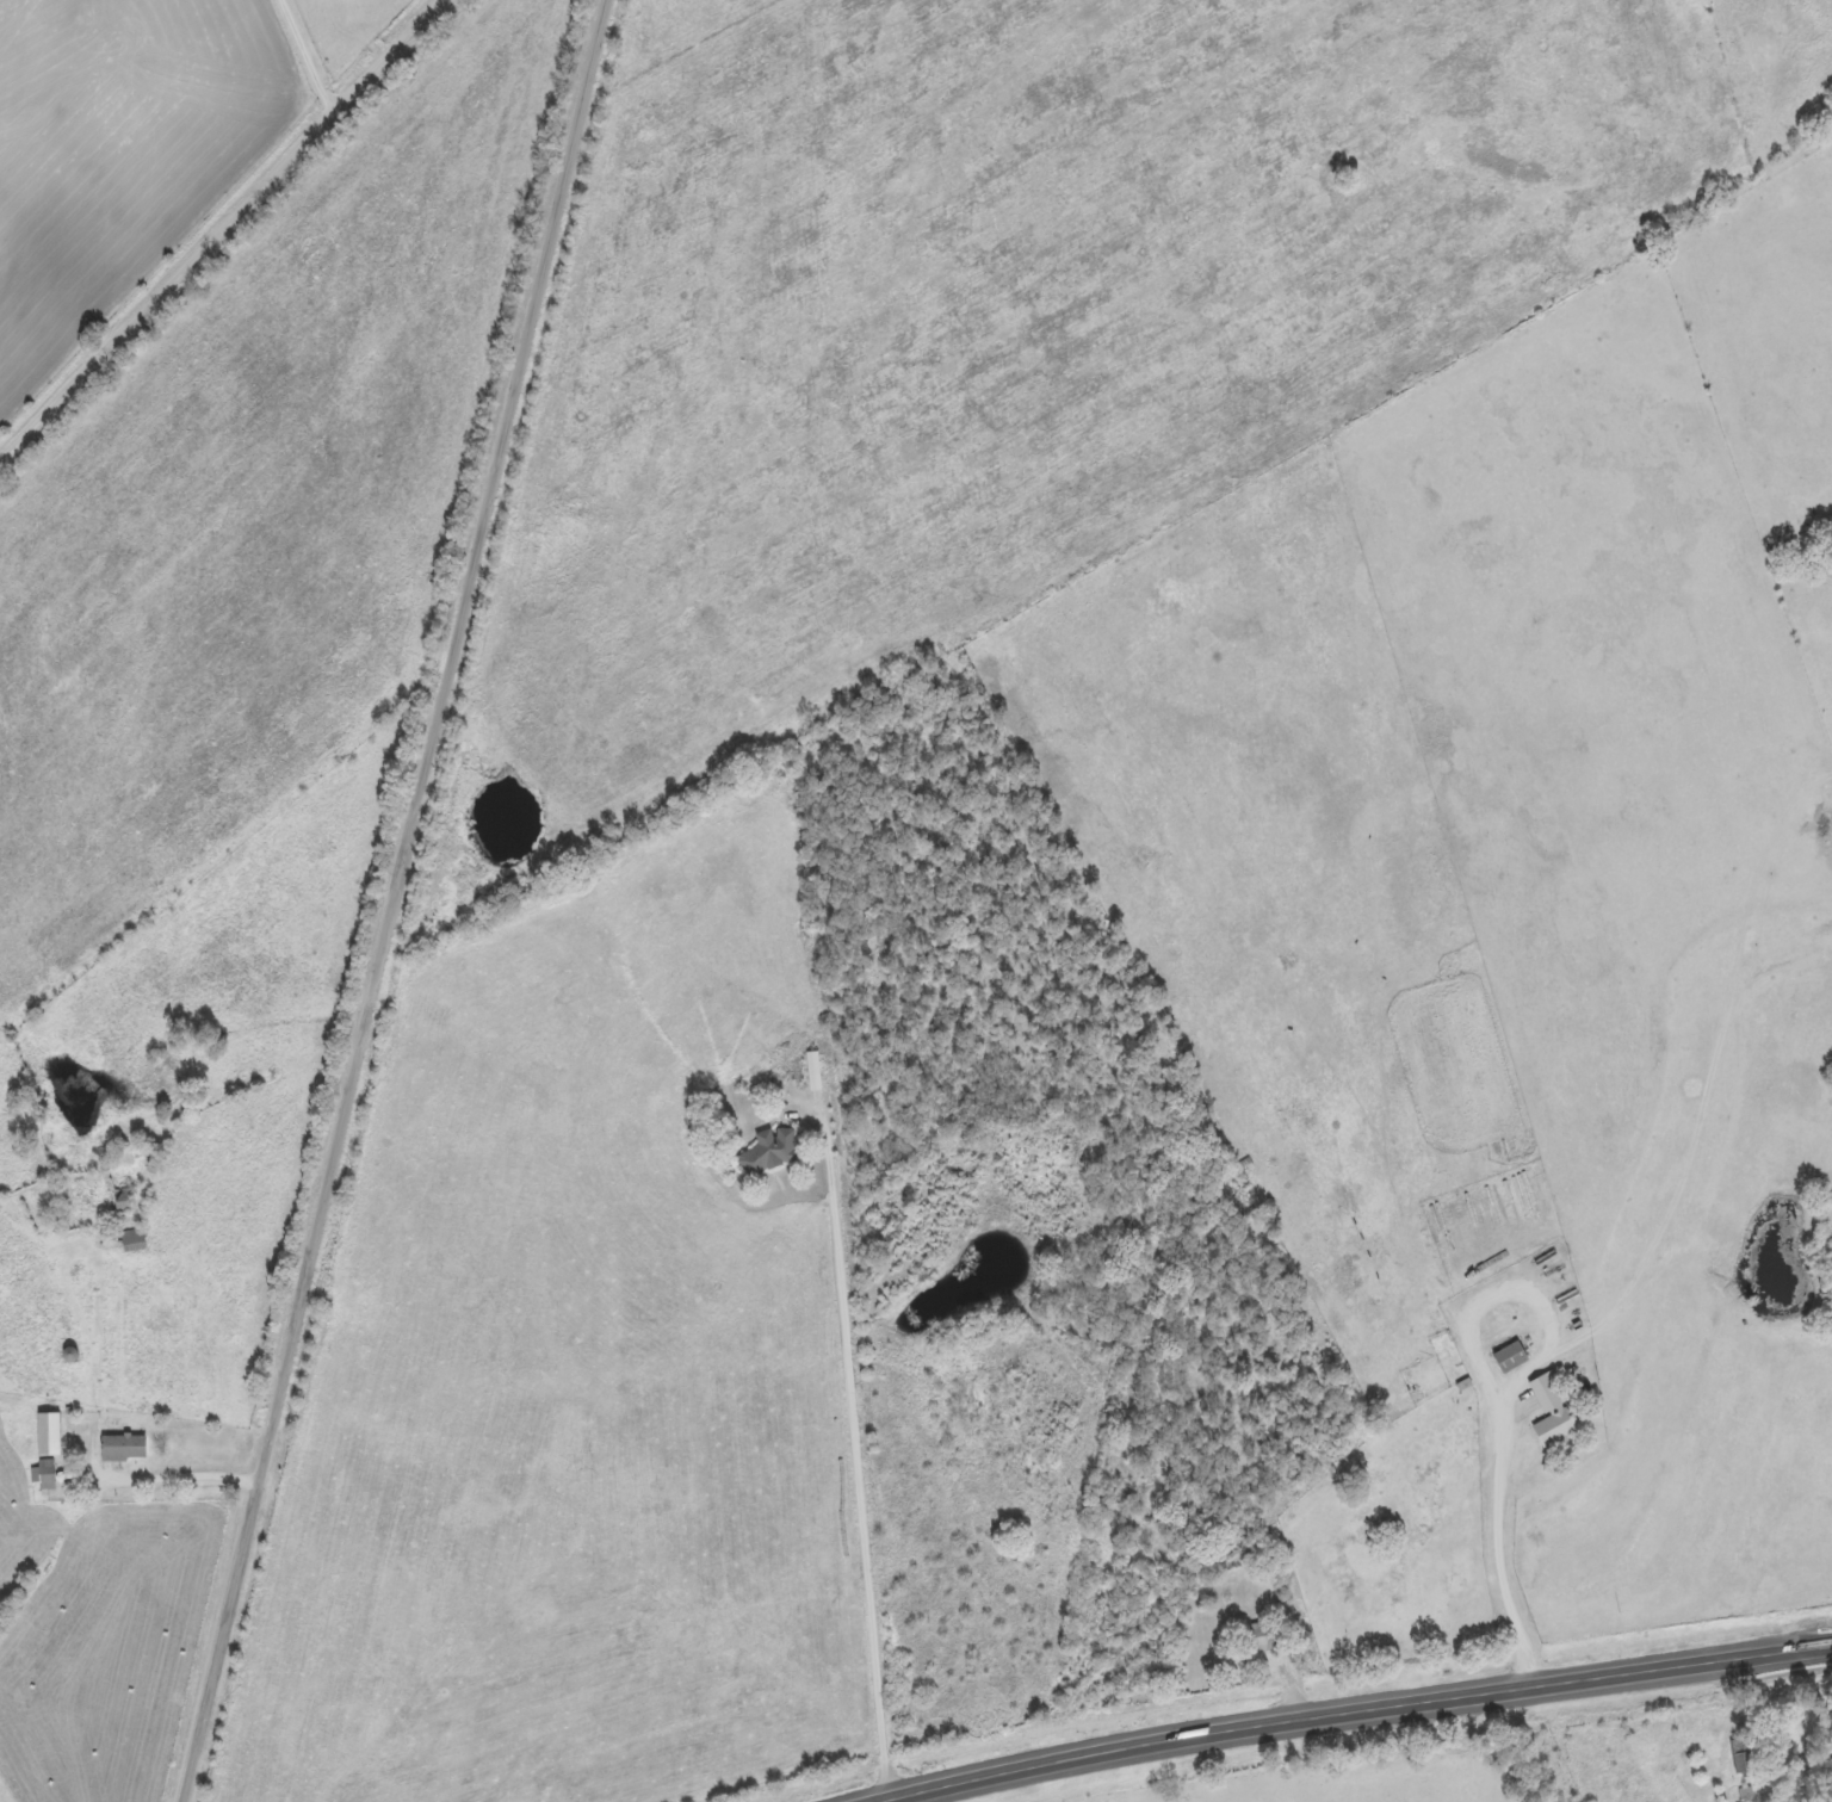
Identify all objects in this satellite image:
road: (225, 235)
road: (403, 900)
building: (812, 1072)
building: (767, 1154)
building: (122, 1208)
road: (1587, 1272)
building: (1509, 1358)
building: (1549, 1412)
building: (45, 1436)
building: (122, 1449)
building: (1262, 1639)
road: (1376, 1726)

